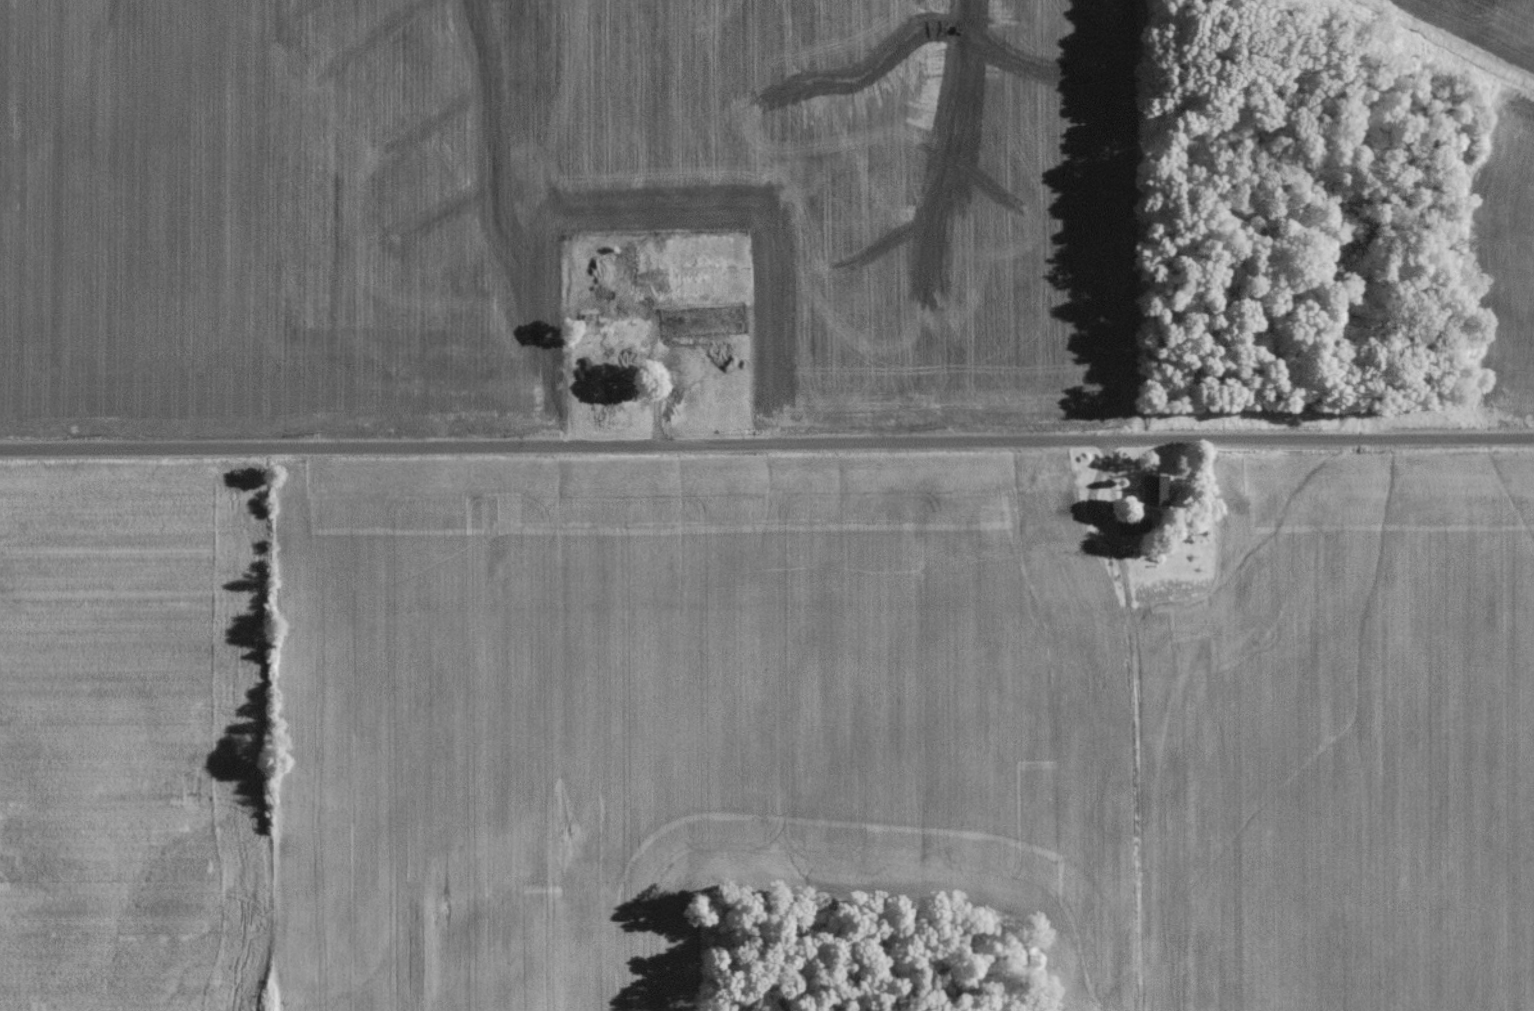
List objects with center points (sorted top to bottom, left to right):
building: (696, 326)
road: (767, 442)
building: (1147, 495)
building: (1040, 501)
road: (1106, 518)

